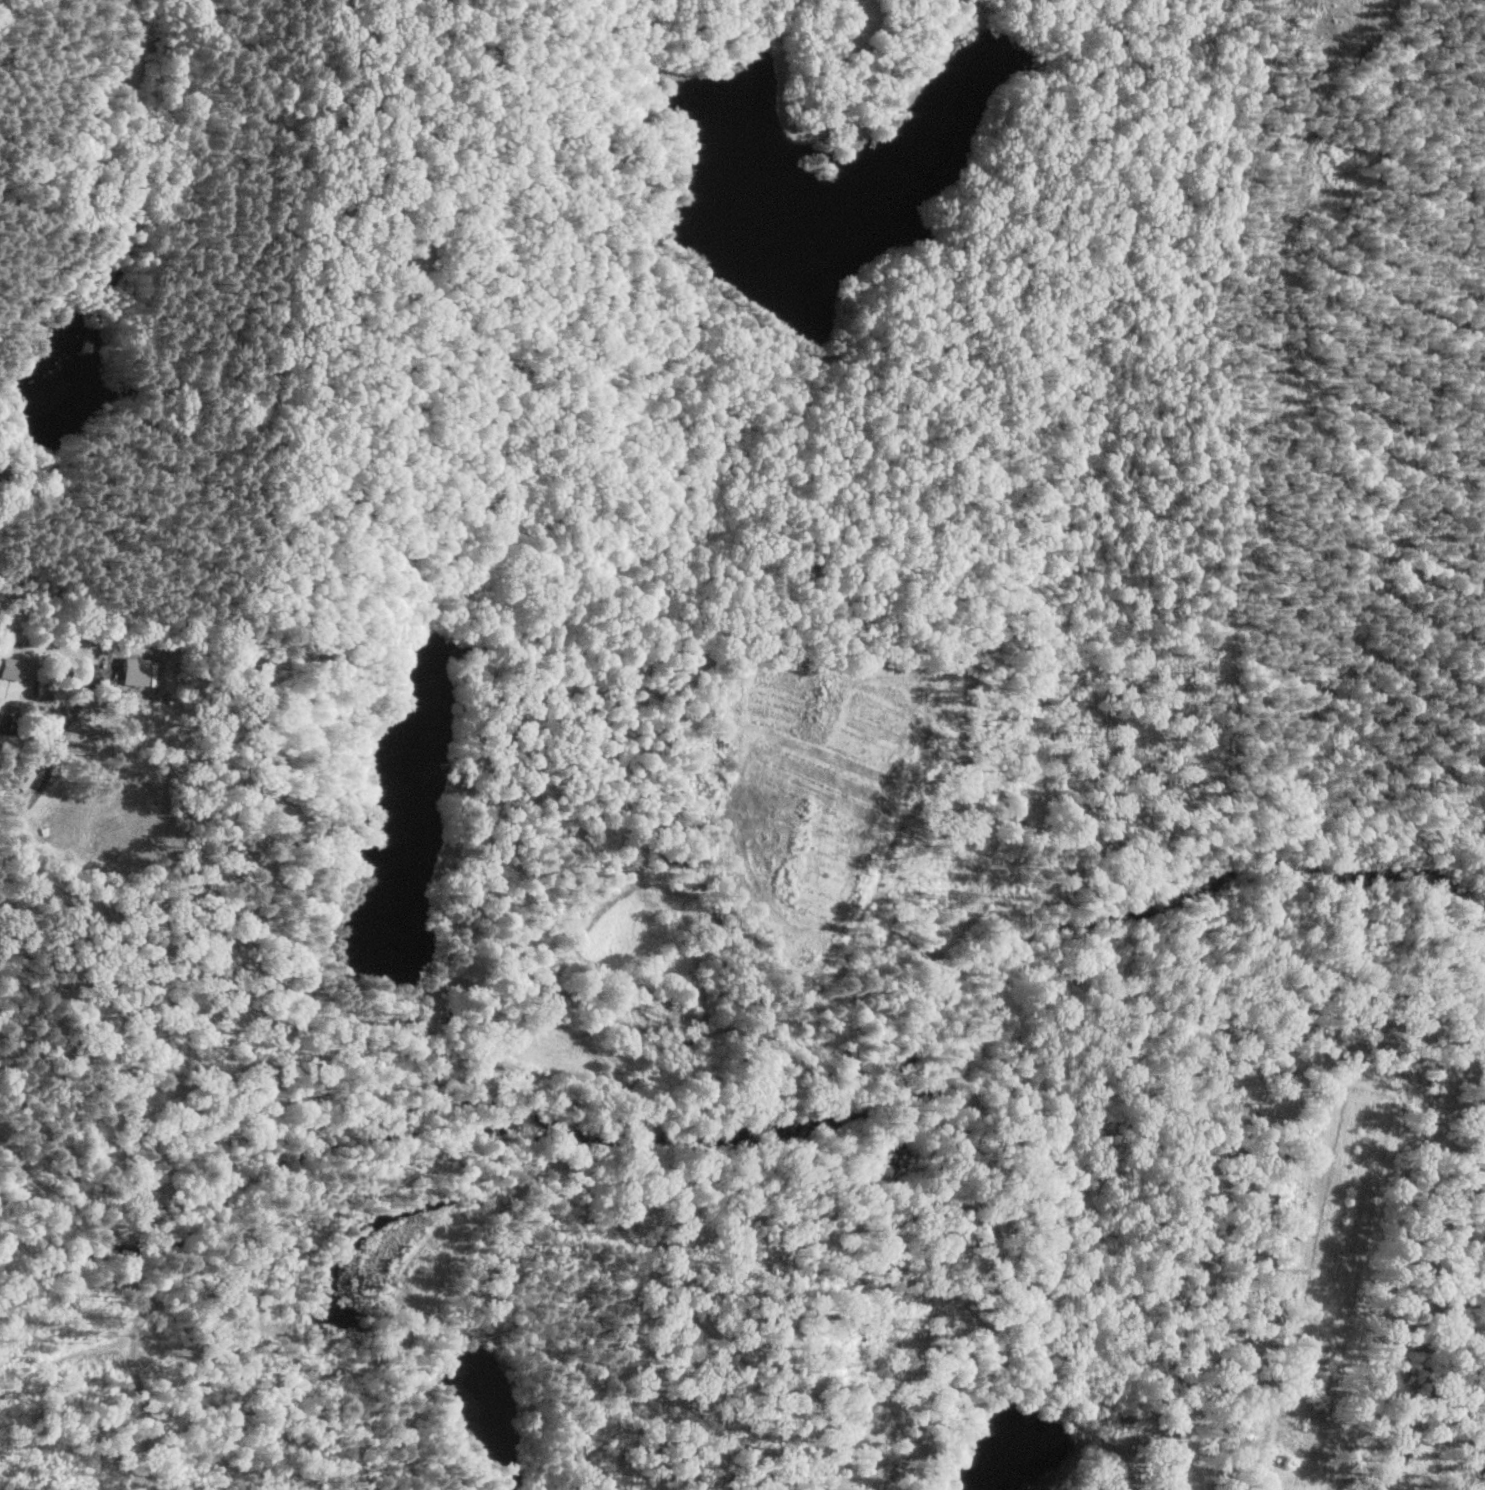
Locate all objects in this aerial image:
building: (13, 668)
building: (132, 670)
road: (2, 730)
building: (16, 778)

